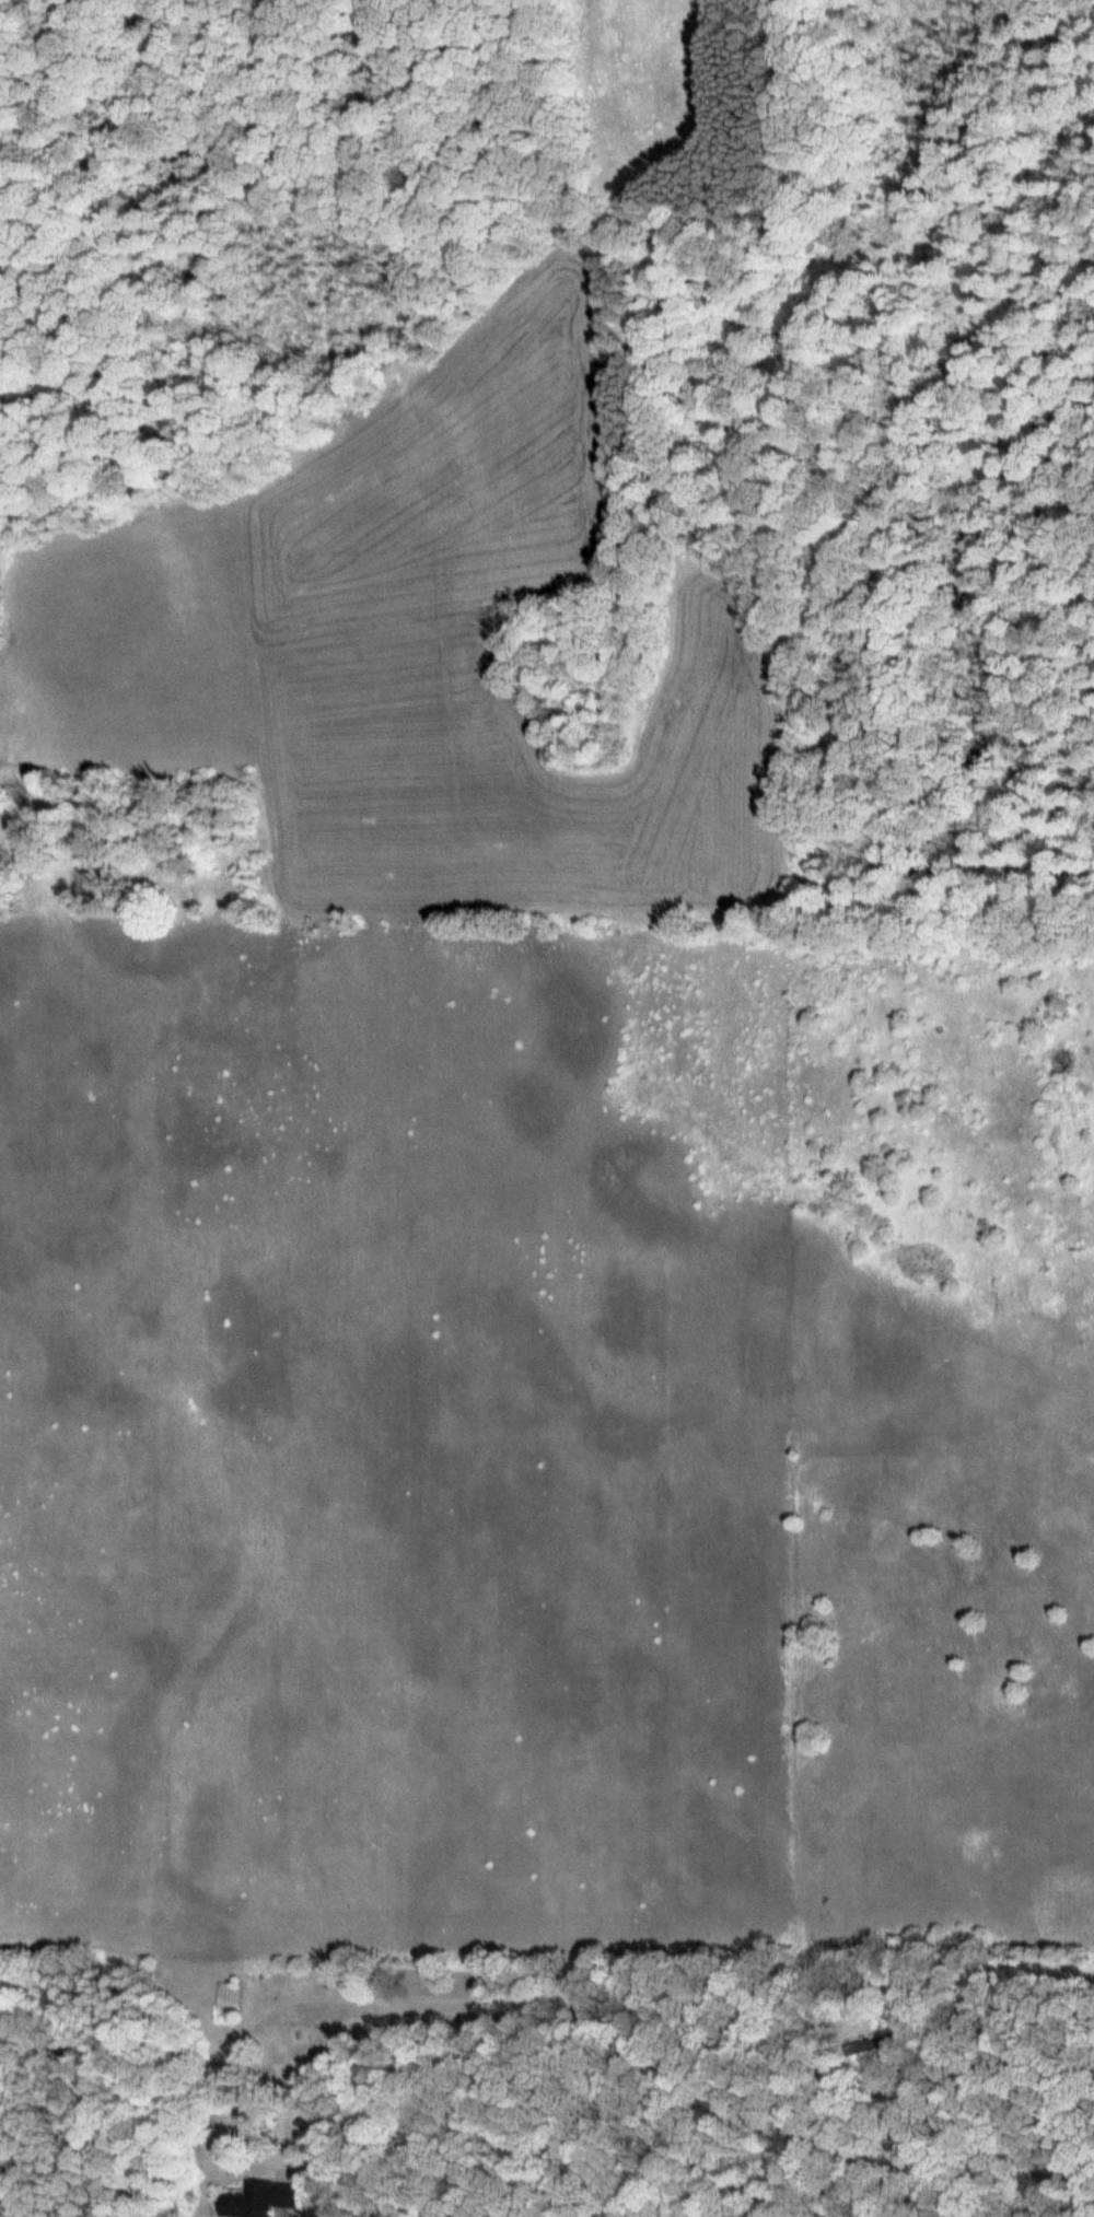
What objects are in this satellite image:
road: (924, 2178)
building: (260, 2200)

